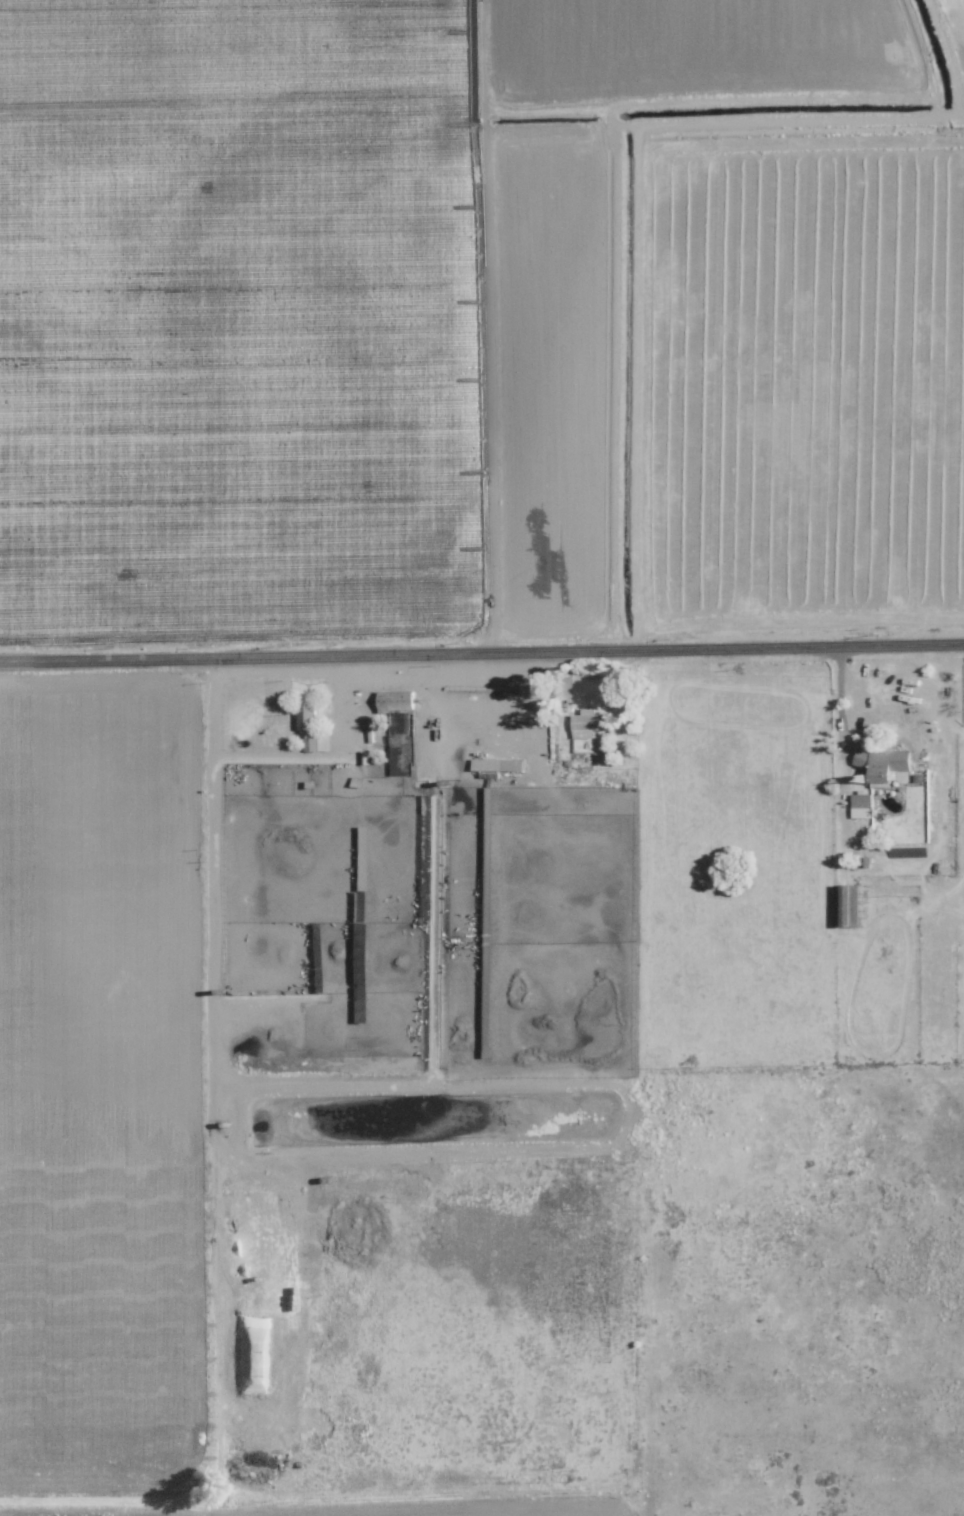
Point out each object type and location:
road: (481, 642)
road: (438, 677)
road: (839, 686)
building: (397, 700)
building: (309, 718)
building: (589, 722)
building: (313, 744)
road: (278, 758)
building: (885, 763)
building: (862, 804)
building: (849, 904)

